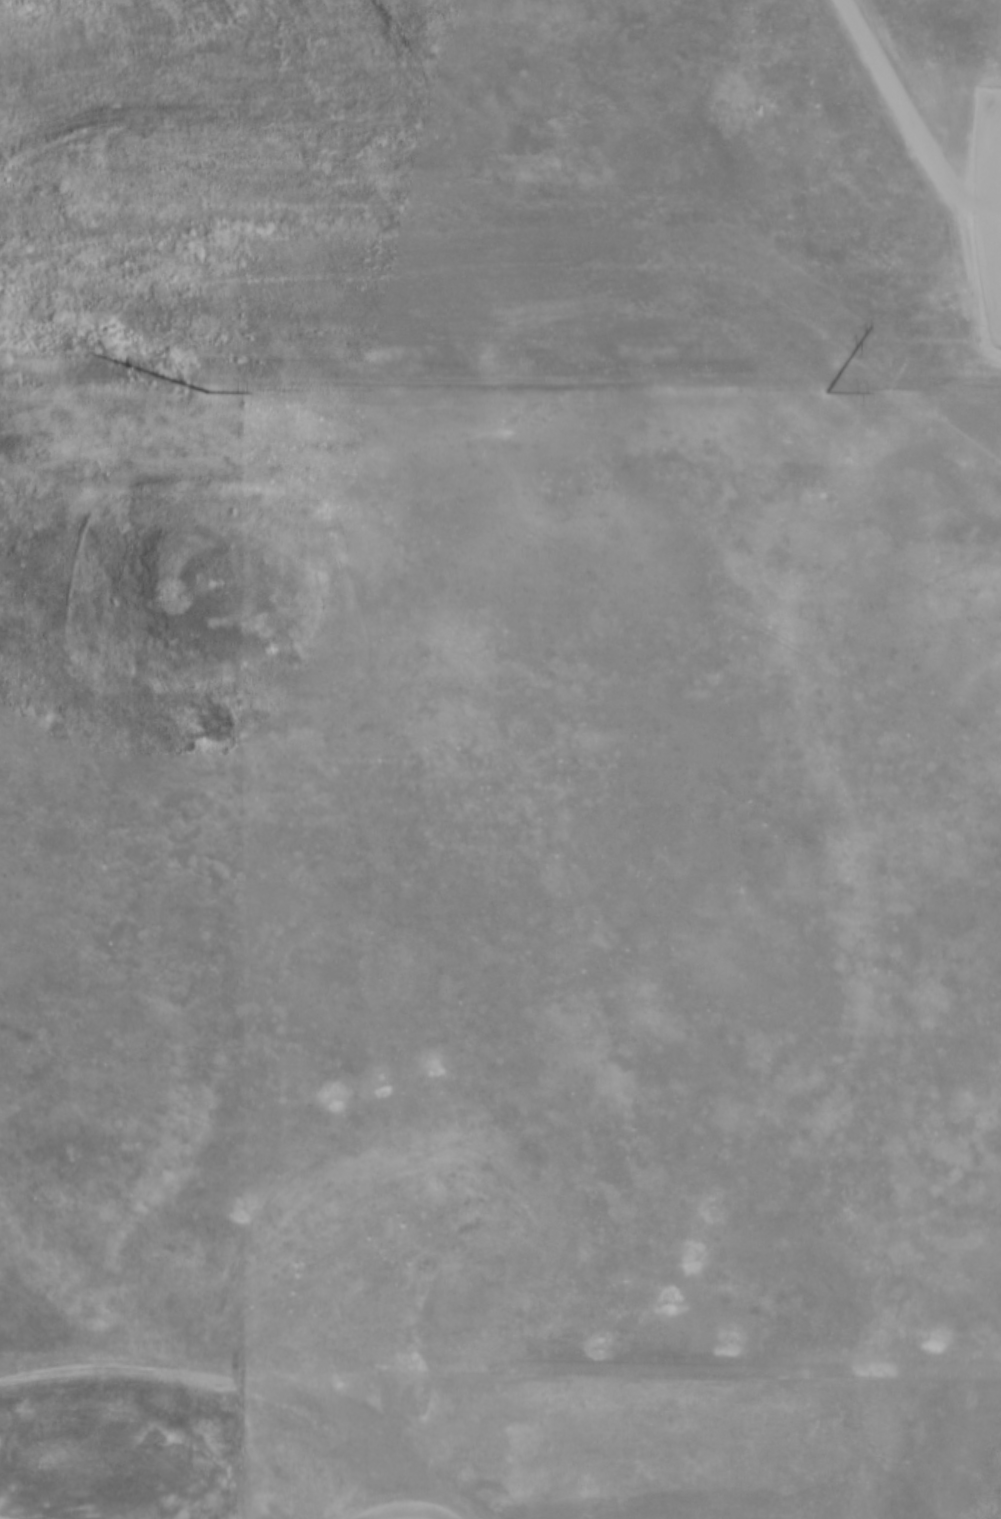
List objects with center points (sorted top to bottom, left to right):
power tower: (198, 397)
power tower: (818, 397)
road: (116, 1368)
quarry: (545, 1412)

